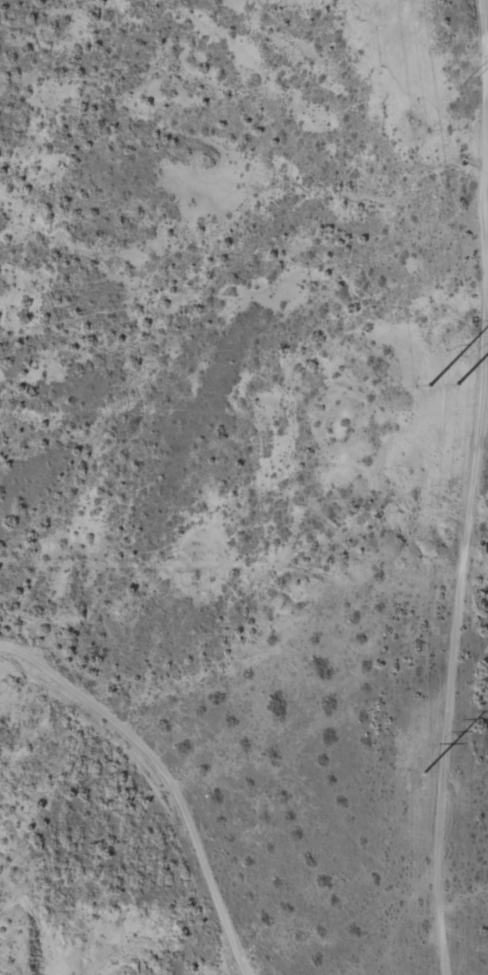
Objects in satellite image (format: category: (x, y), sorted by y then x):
power tower: (473, 77)
power tower: (441, 384)
power tower: (425, 773)
road: (153, 801)

